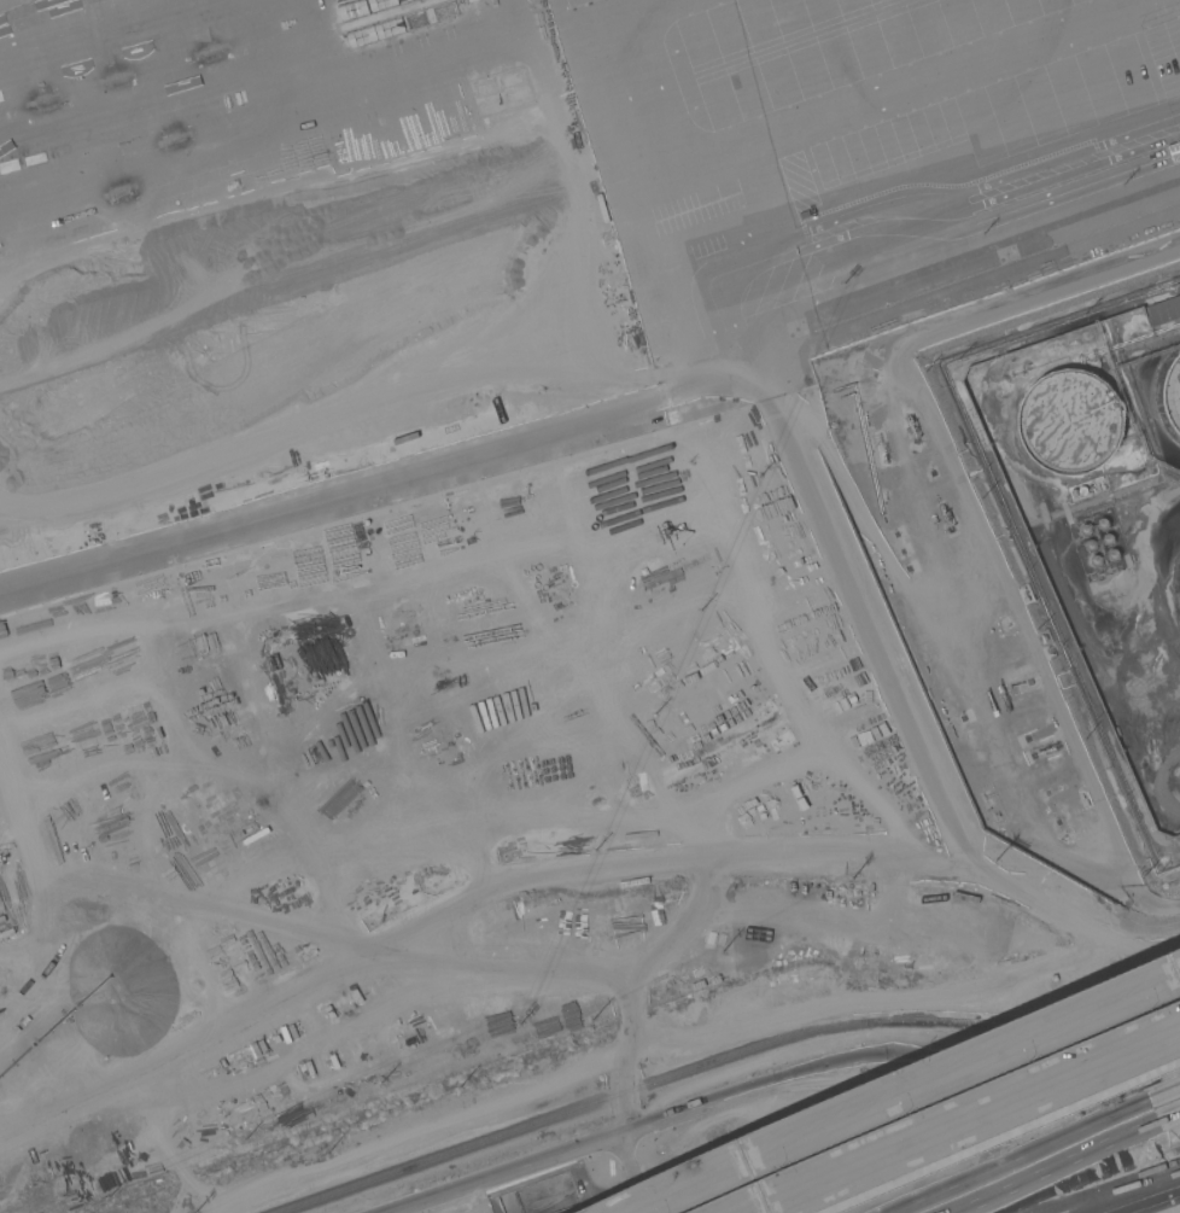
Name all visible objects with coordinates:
building: (1172, 393)
storage tank: (1172, 393)
petroleum well: (909, 422)
building: (1069, 422)
storage tank: (1069, 422)
petroleum well: (942, 509)
power plant: (1093, 521)
petroleum well: (1050, 747)
building: (354, 1050)
railway: (722, 1060)
road: (902, 1090)
road: (972, 1116)
road: (1134, 1195)
road: (755, 1209)
road: (758, 1209)

